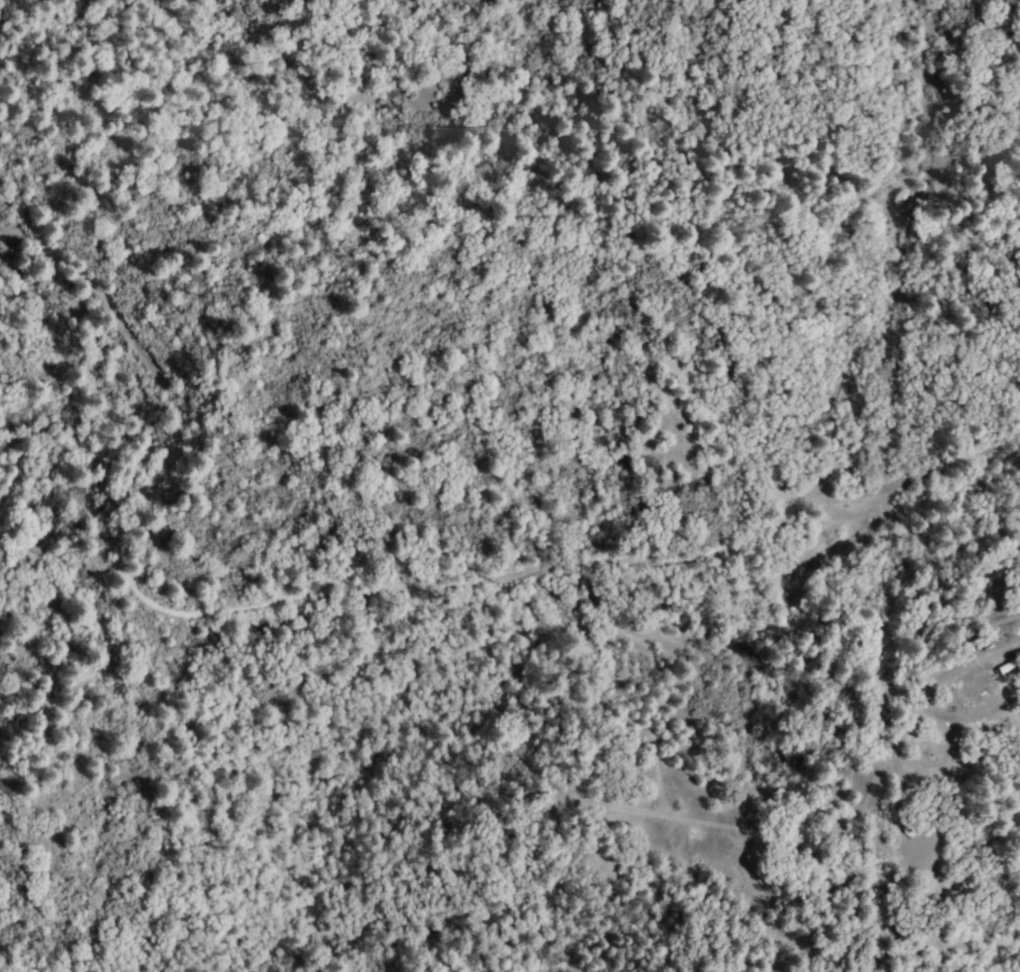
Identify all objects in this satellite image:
road: (355, 583)

